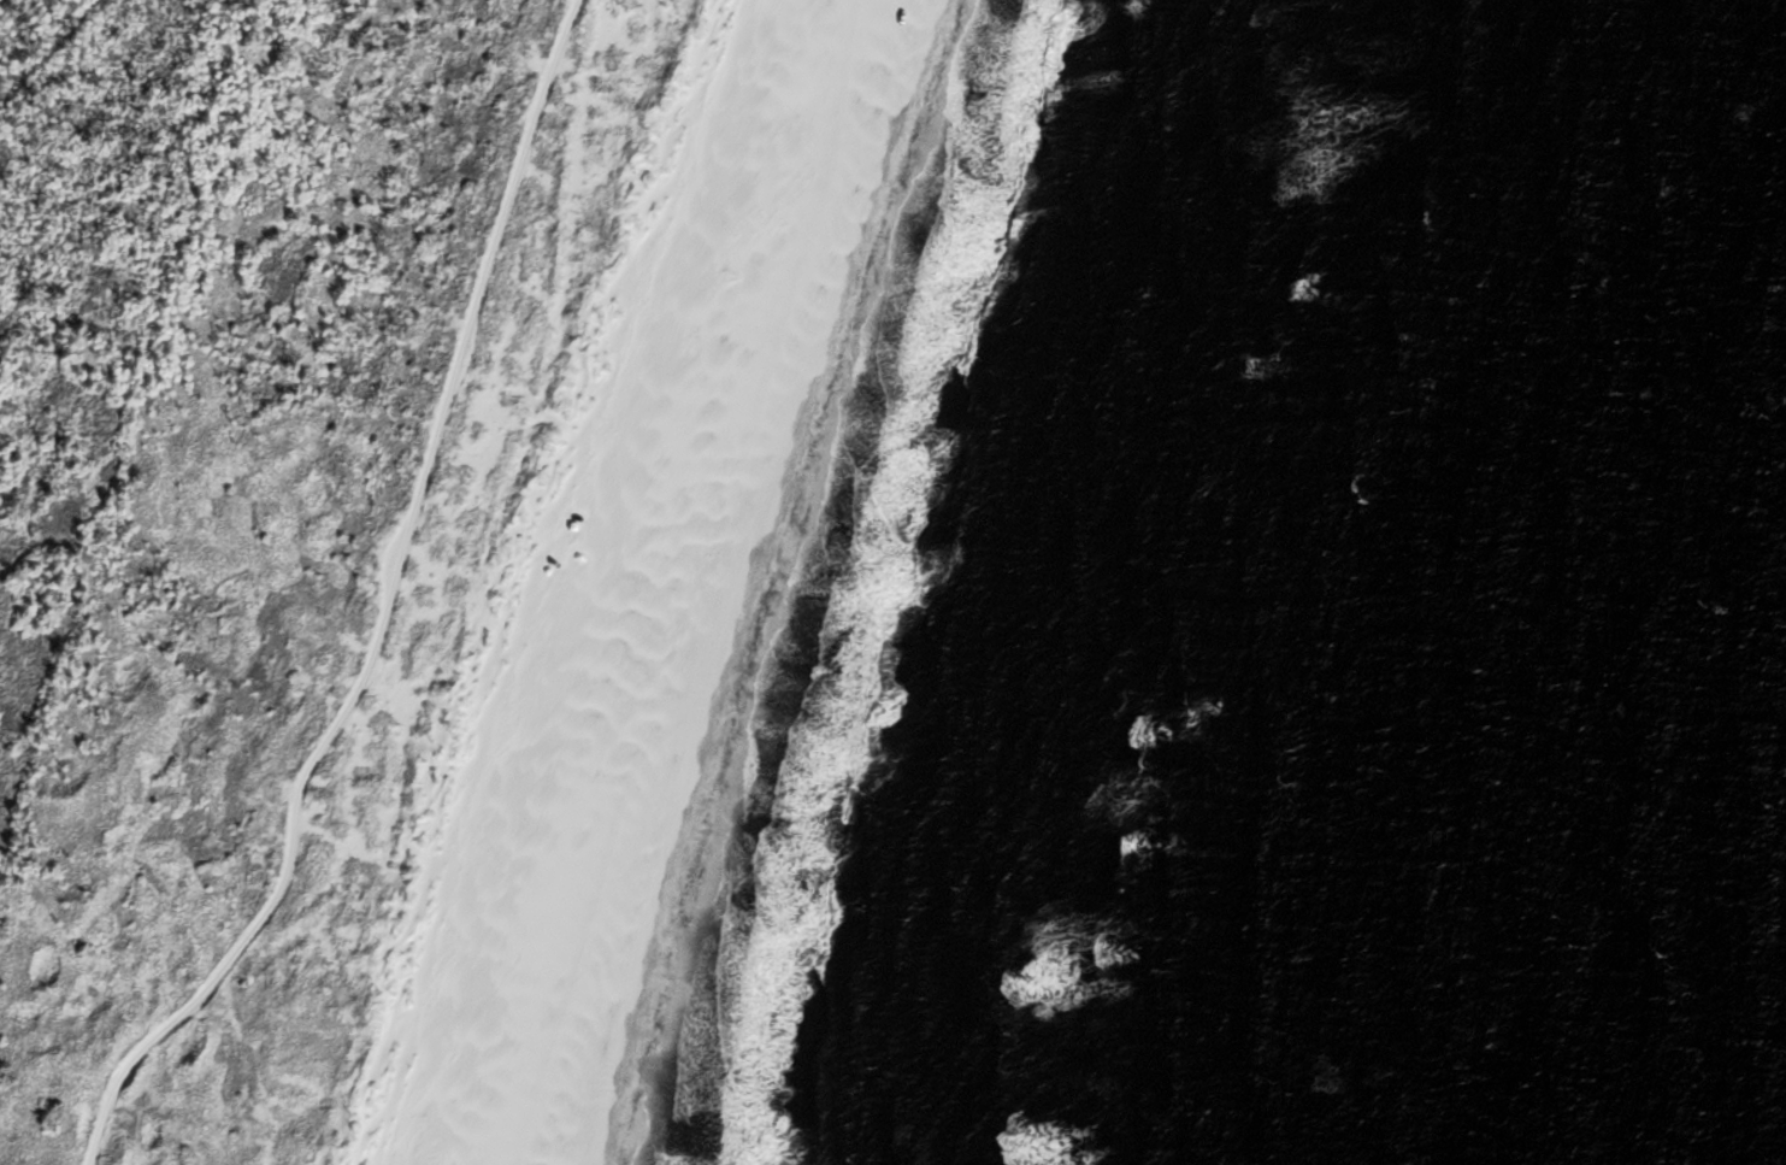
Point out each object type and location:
road: (0, 0)
road: (385, 612)

